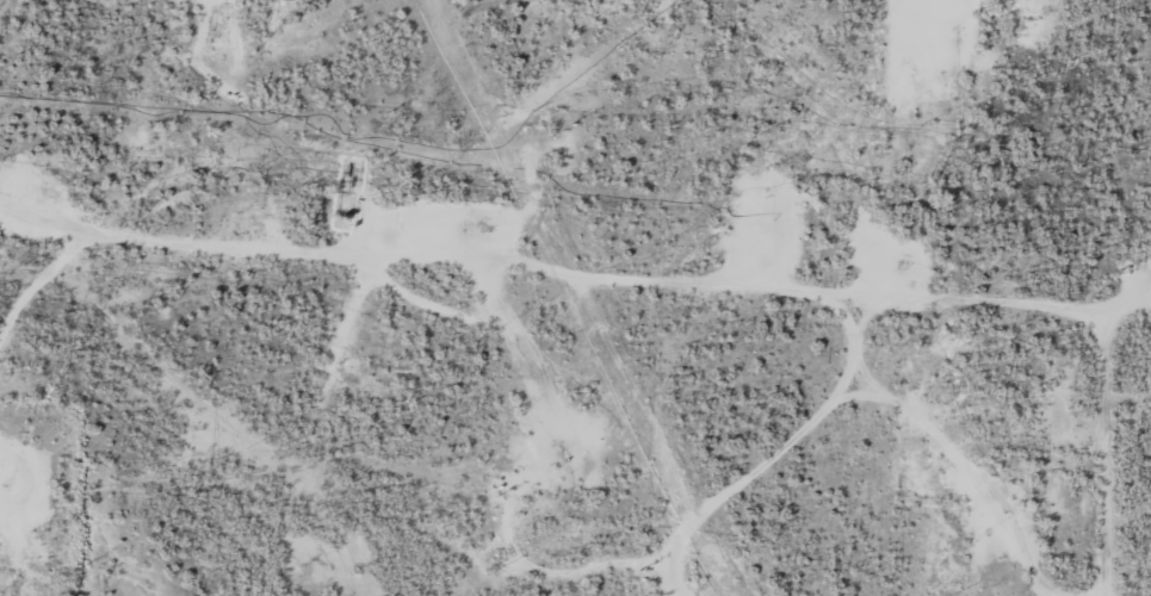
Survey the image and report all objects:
road: (619, 296)

